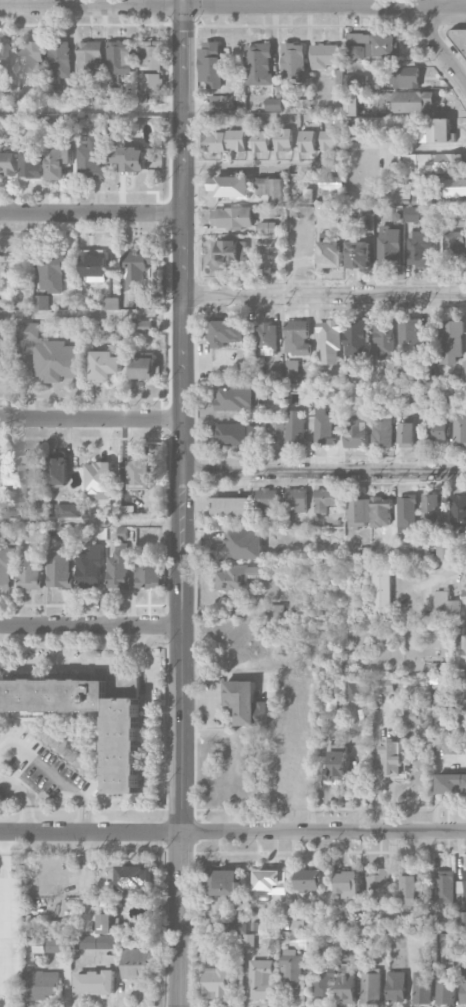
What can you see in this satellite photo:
road: (184, 4)
road: (232, 8)
road: (437, 44)
building: (374, 45)
building: (462, 45)
building: (151, 55)
building: (324, 56)
building: (90, 57)
building: (119, 57)
building: (30, 58)
building: (3, 62)
building: (59, 62)
building: (293, 62)
building: (259, 64)
building: (211, 65)
building: (406, 77)
building: (150, 82)
building: (337, 84)
building: (116, 93)
building: (143, 97)
building: (413, 101)
building: (222, 103)
building: (352, 103)
building: (273, 104)
road: (91, 109)
building: (357, 125)
building: (434, 131)
building: (283, 139)
building: (329, 139)
building: (236, 140)
building: (261, 141)
building: (307, 141)
building: (215, 142)
building: (131, 157)
building: (90, 160)
building: (30, 162)
building: (58, 162)
building: (434, 163)
building: (7, 164)
road: (263, 170)
building: (331, 182)
building: (230, 186)
building: (455, 187)
building: (271, 189)
road: (91, 213)
building: (412, 214)
building: (232, 217)
building: (267, 227)
building: (275, 243)
building: (389, 245)
building: (418, 248)
building: (452, 249)
building: (330, 254)
building: (359, 254)
building: (228, 255)
building: (93, 265)
building: (136, 267)
building: (4, 272)
building: (51, 273)
road: (323, 294)
building: (40, 302)
building: (111, 303)
road: (90, 316)
building: (143, 326)
building: (123, 328)
building: (226, 331)
building: (409, 335)
building: (356, 337)
building: (297, 338)
building: (268, 339)
building: (384, 340)
building: (330, 342)
building: (451, 342)
building: (48, 354)
building: (105, 365)
building: (143, 368)
building: (292, 369)
building: (464, 370)
building: (426, 374)
building: (234, 398)
road: (91, 419)
building: (277, 424)
building: (295, 427)
building: (323, 427)
building: (438, 427)
building: (382, 429)
building: (459, 429)
building: (355, 431)
building: (232, 434)
building: (406, 435)
building: (57, 467)
building: (139, 472)
road: (324, 472)
building: (21, 475)
building: (99, 480)
building: (266, 497)
building: (324, 499)
building: (296, 500)
building: (230, 506)
road: (183, 507)
building: (434, 507)
building: (12, 509)
building: (67, 510)
building: (358, 511)
building: (380, 511)
building: (458, 511)
road: (91, 517)
building: (409, 520)
building: (93, 532)
building: (64, 533)
building: (35, 534)
building: (239, 544)
building: (443, 551)
building: (6, 566)
building: (118, 567)
building: (58, 568)
building: (90, 568)
building: (415, 571)
road: (452, 571)
building: (29, 572)
building: (147, 575)
building: (237, 577)
building: (465, 587)
building: (380, 591)
building: (445, 604)
road: (90, 624)
building: (462, 652)
road: (82, 663)
building: (384, 684)
building: (457, 688)
building: (352, 691)
building: (245, 703)
building: (413, 717)
building: (463, 727)
building: (454, 748)
building: (124, 752)
building: (394, 757)
building: (335, 764)
road: (54, 776)
building: (451, 783)
road: (22, 798)
road: (232, 833)
building: (135, 876)
building: (310, 879)
building: (223, 882)
building: (270, 882)
building: (377, 883)
building: (347, 884)
building: (444, 886)
building: (461, 890)
building: (407, 891)
road: (1, 920)
building: (462, 922)
building: (106, 923)
building: (298, 925)
building: (354, 926)
building: (419, 928)
building: (300, 940)
building: (94, 941)
building: (211, 943)
building: (49, 945)
building: (137, 963)
building: (292, 971)
building: (262, 979)
building: (463, 981)
building: (95, 982)
building: (216, 982)
building: (323, 982)
building: (41, 984)
building: (395, 986)
building: (421, 986)
building: (444, 986)
building: (346, 987)
building: (371, 988)

